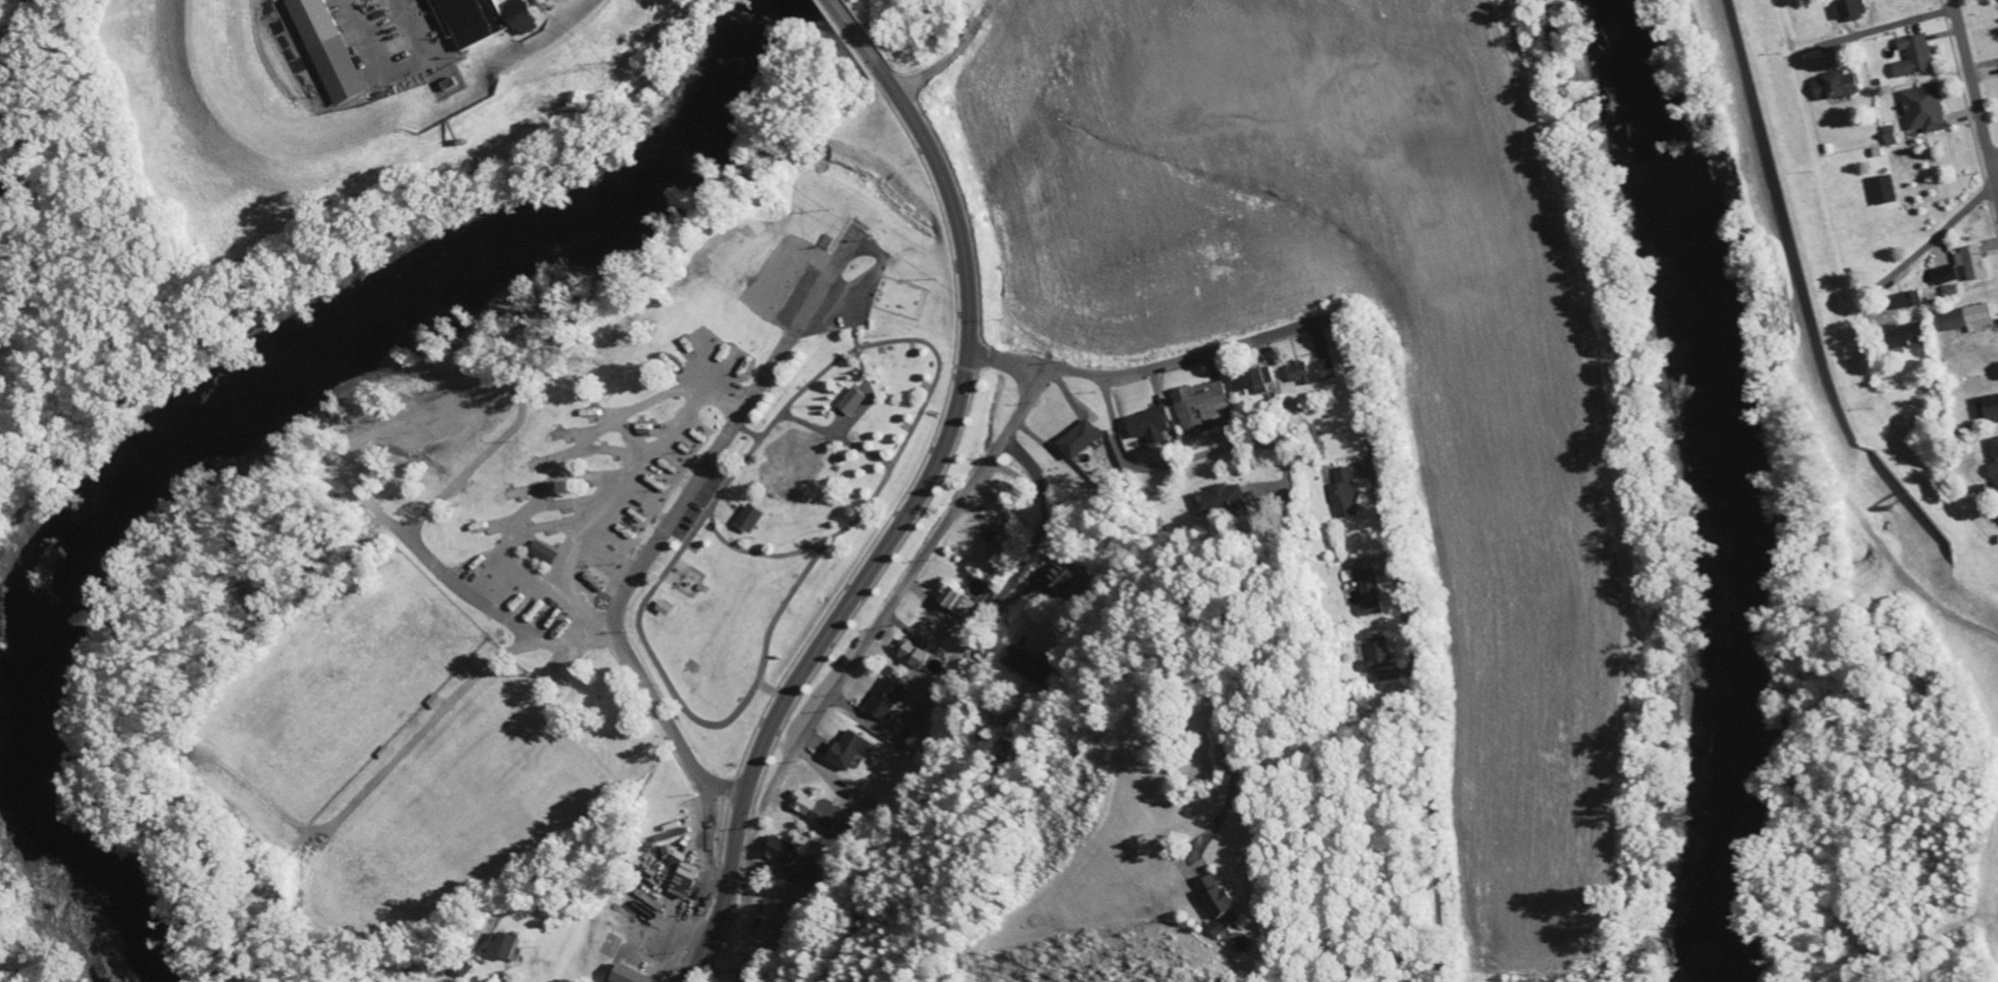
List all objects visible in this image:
building: (1847, 9)
building: (525, 16)
building: (475, 21)
road: (1896, 26)
building: (332, 50)
building: (1913, 56)
building: (1834, 86)
road: (1975, 97)
building: (1923, 109)
building: (1889, 135)
building: (1883, 190)
road: (1936, 237)
building: (1971, 262)
building: (1944, 275)
parking lot: (835, 287)
building: (1906, 300)
building: (1969, 318)
building: (1900, 335)
road: (1152, 368)
building: (1314, 372)
building: (1251, 380)
road: (482, 386)
river: (216, 395)
building: (856, 401)
building: (1197, 404)
building: (1990, 407)
road: (522, 411)
parking lot: (428, 418)
building: (1149, 425)
road: (748, 429)
road: (632, 434)
park: (697, 439)
building: (1081, 439)
road: (899, 448)
building: (1994, 456)
road: (559, 469)
road: (620, 477)
river: (1735, 484)
building: (1345, 493)
road: (916, 497)
building: (1218, 499)
building: (753, 517)
road: (1287, 517)
building: (998, 542)
building: (548, 552)
road: (637, 568)
building: (1059, 579)
road: (460, 585)
road: (901, 588)
building: (1370, 591)
building: (958, 601)
road: (994, 603)
road: (1412, 644)
building: (1378, 655)
building: (918, 656)
building: (887, 697)
road: (446, 704)
road: (690, 715)
building: (915, 746)
building: (850, 749)
park: (415, 750)
park: (456, 805)
building: (817, 810)
building: (781, 849)
park: (403, 851)
building: (810, 875)
road: (879, 876)
building: (682, 879)
building: (1222, 905)
building: (512, 946)
building: (628, 974)

